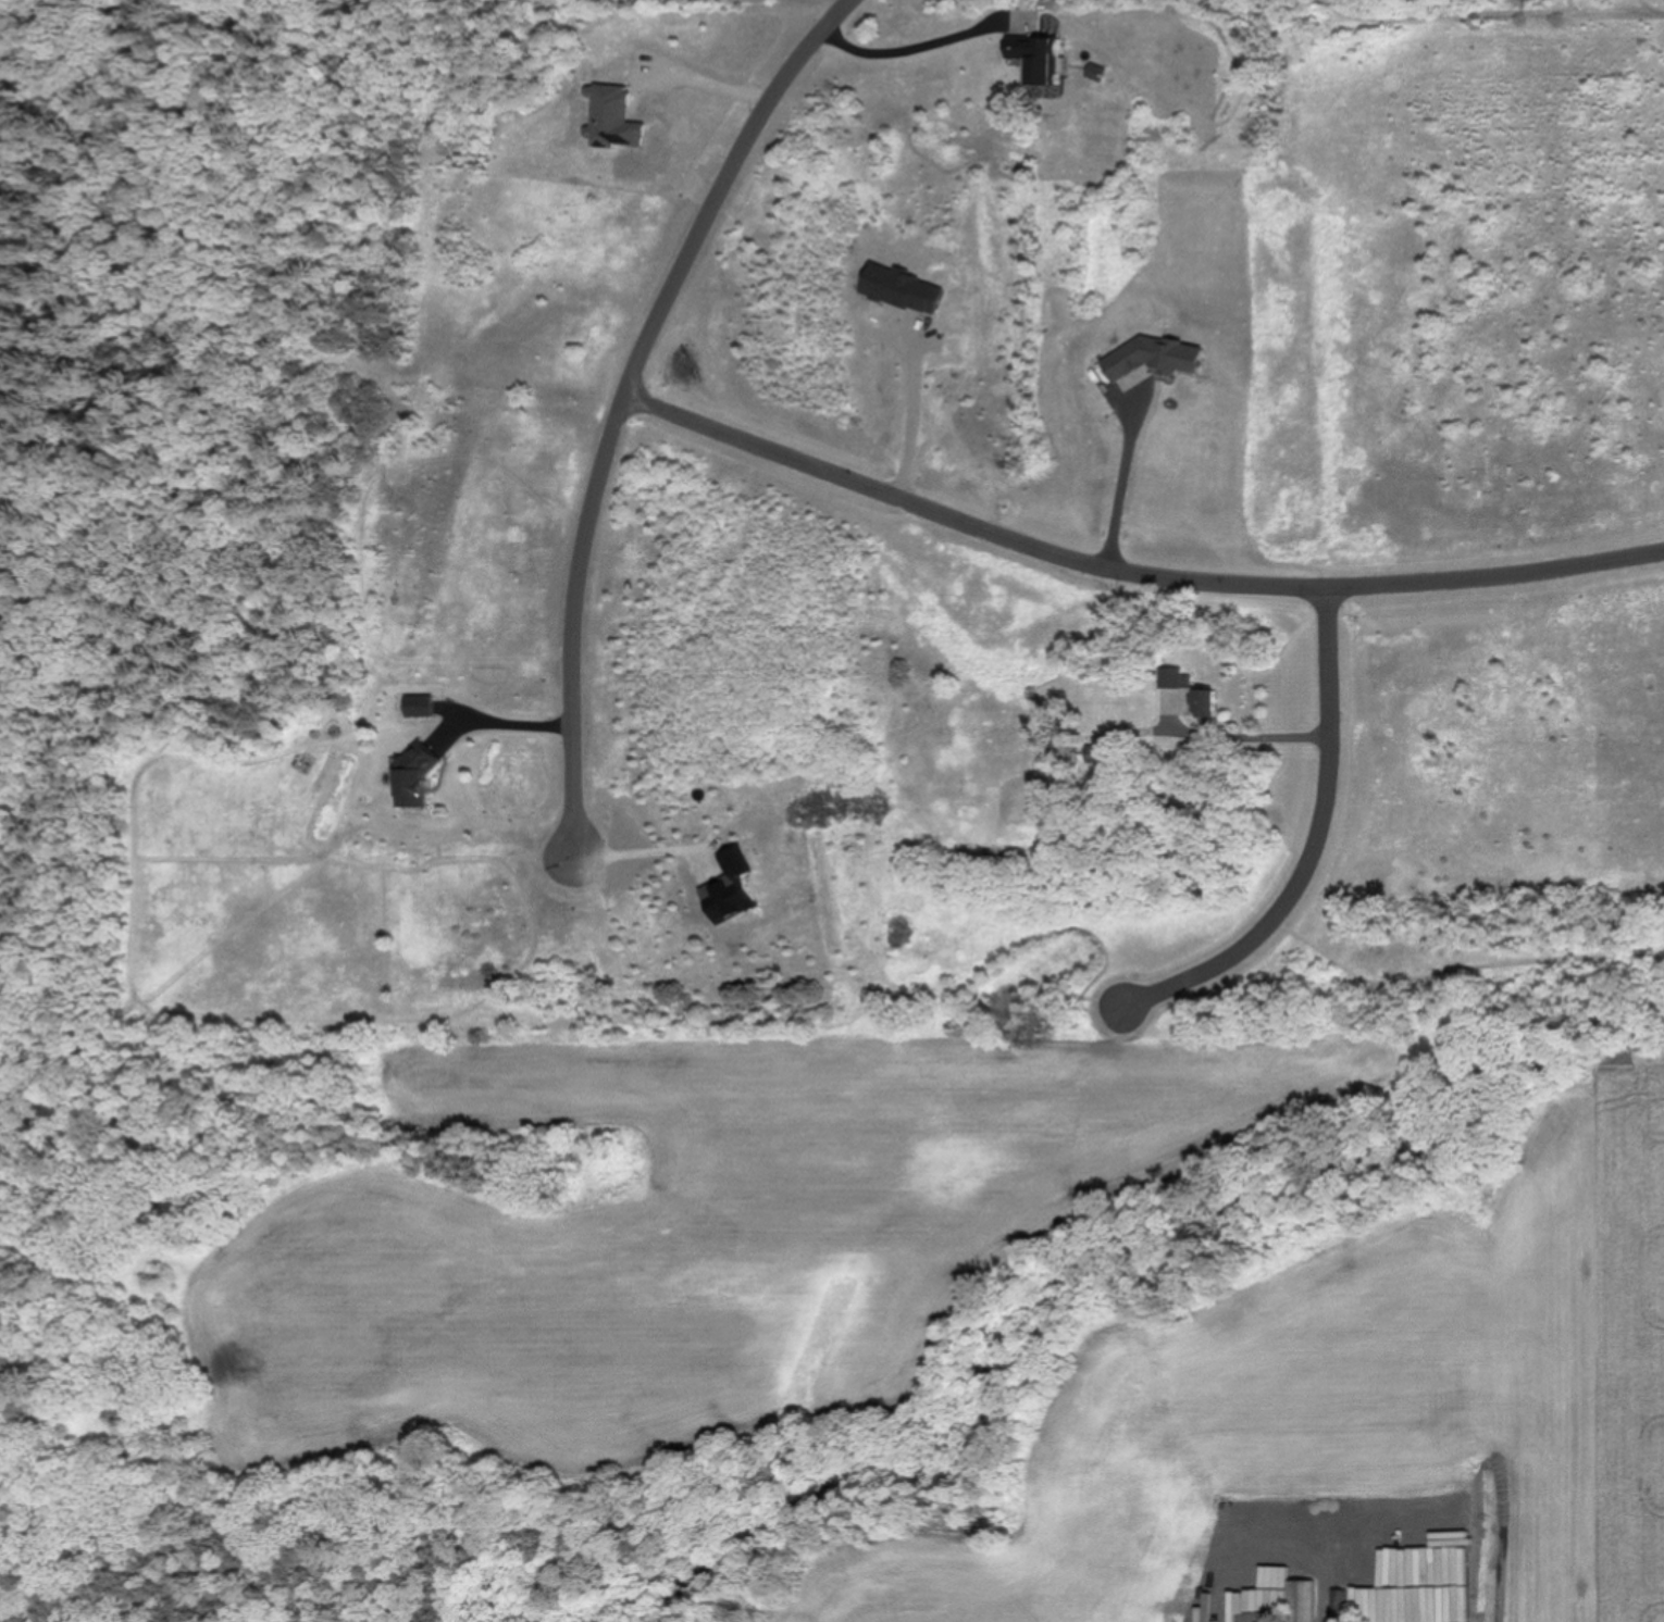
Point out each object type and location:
road: (915, 48)
road: (713, 86)
road: (628, 401)
road: (1121, 477)
road: (1134, 564)
road: (504, 721)
road: (1251, 735)
road: (1313, 843)
crop: (1357, 1401)

